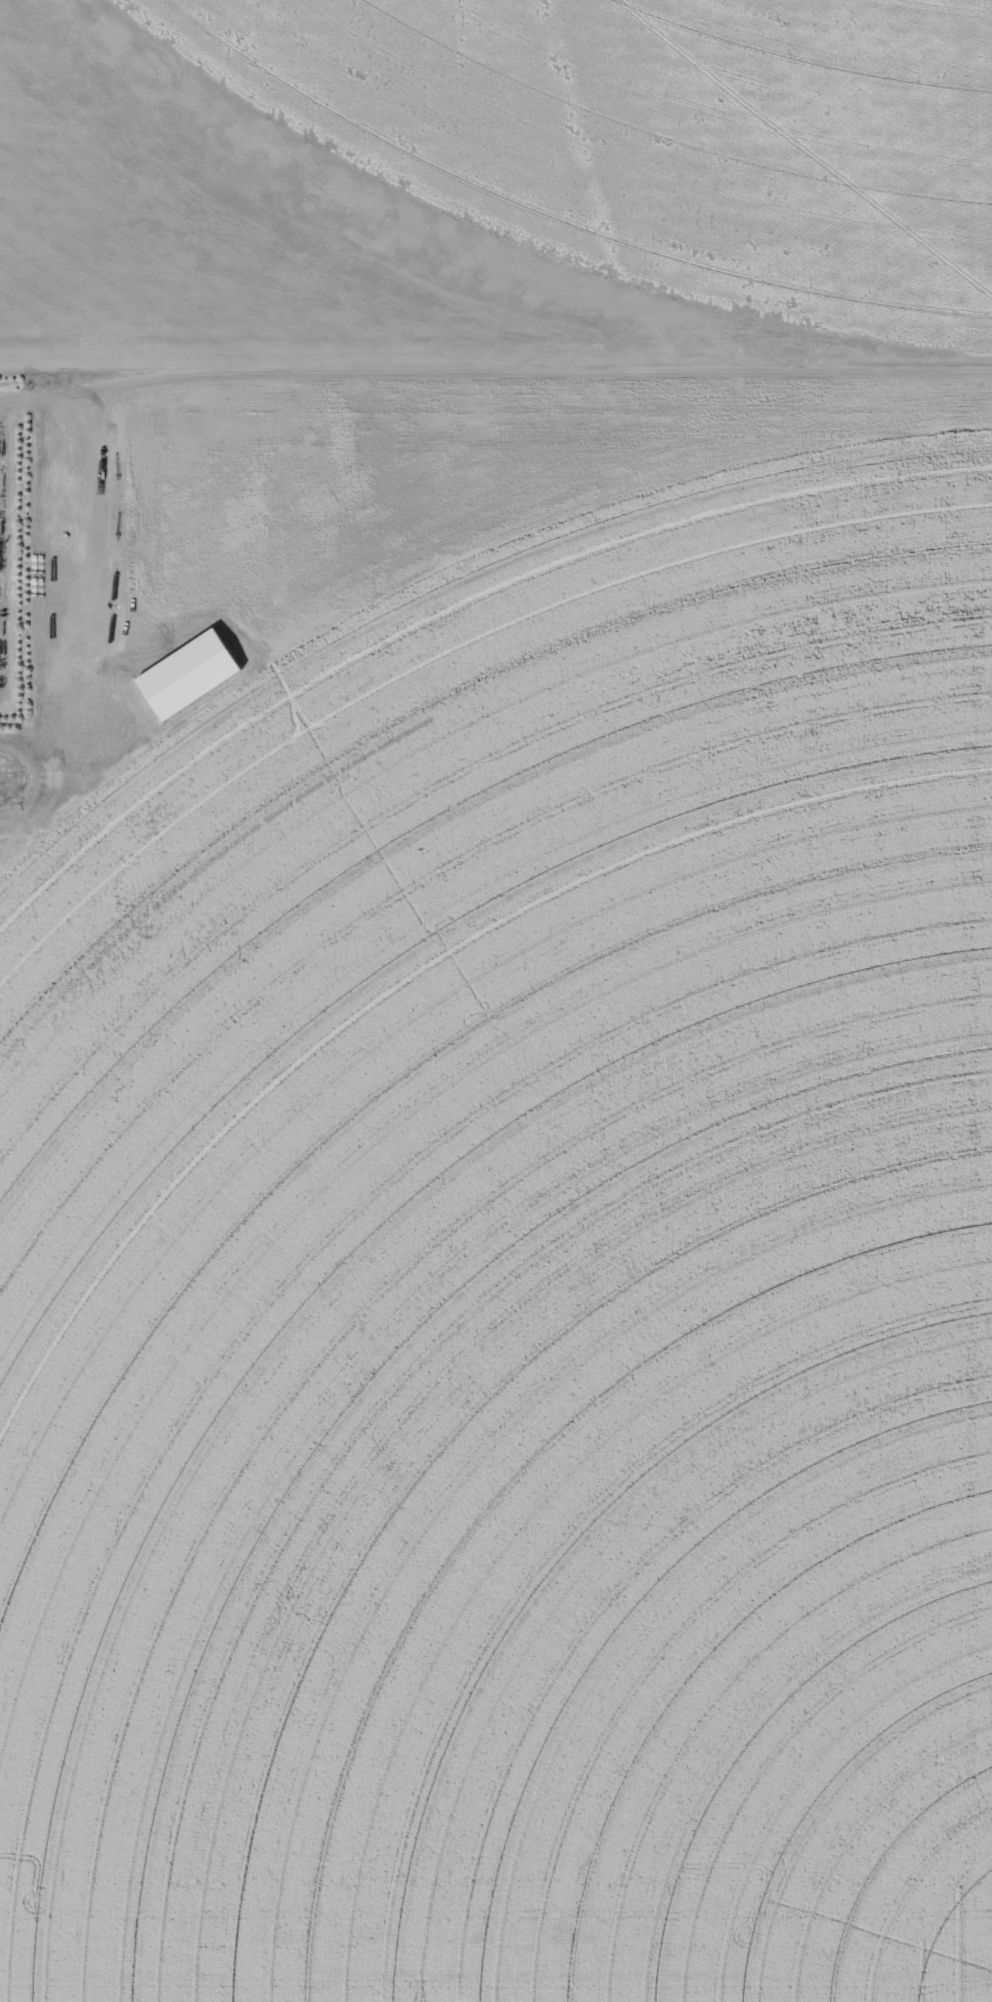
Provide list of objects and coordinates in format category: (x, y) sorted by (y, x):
building: (186, 674)

